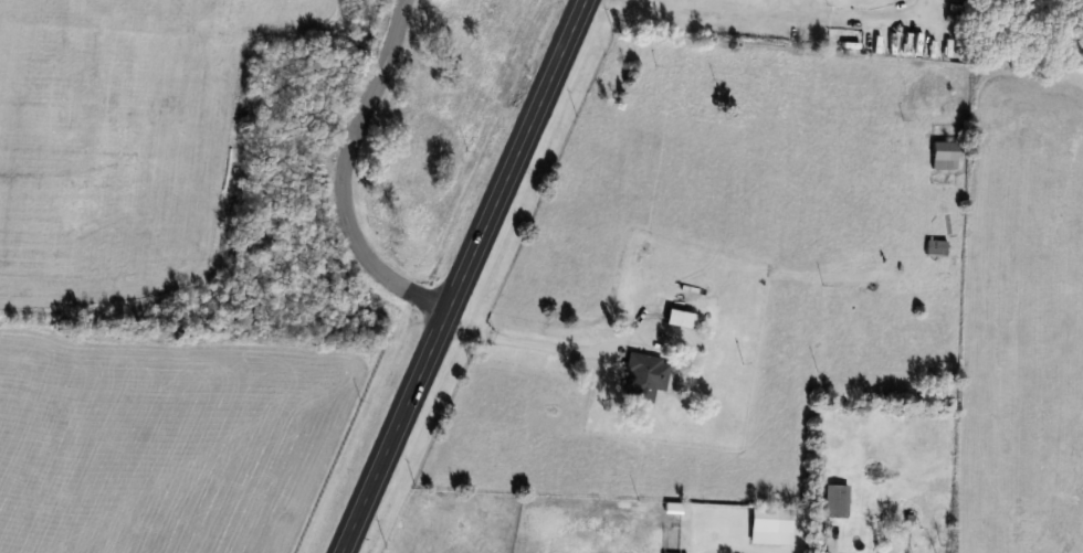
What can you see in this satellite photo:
road: (780, 17)
building: (944, 155)
road: (337, 178)
building: (935, 248)
road: (462, 276)
building: (673, 328)
road: (529, 347)
building: (646, 373)
building: (835, 501)
building: (770, 525)

